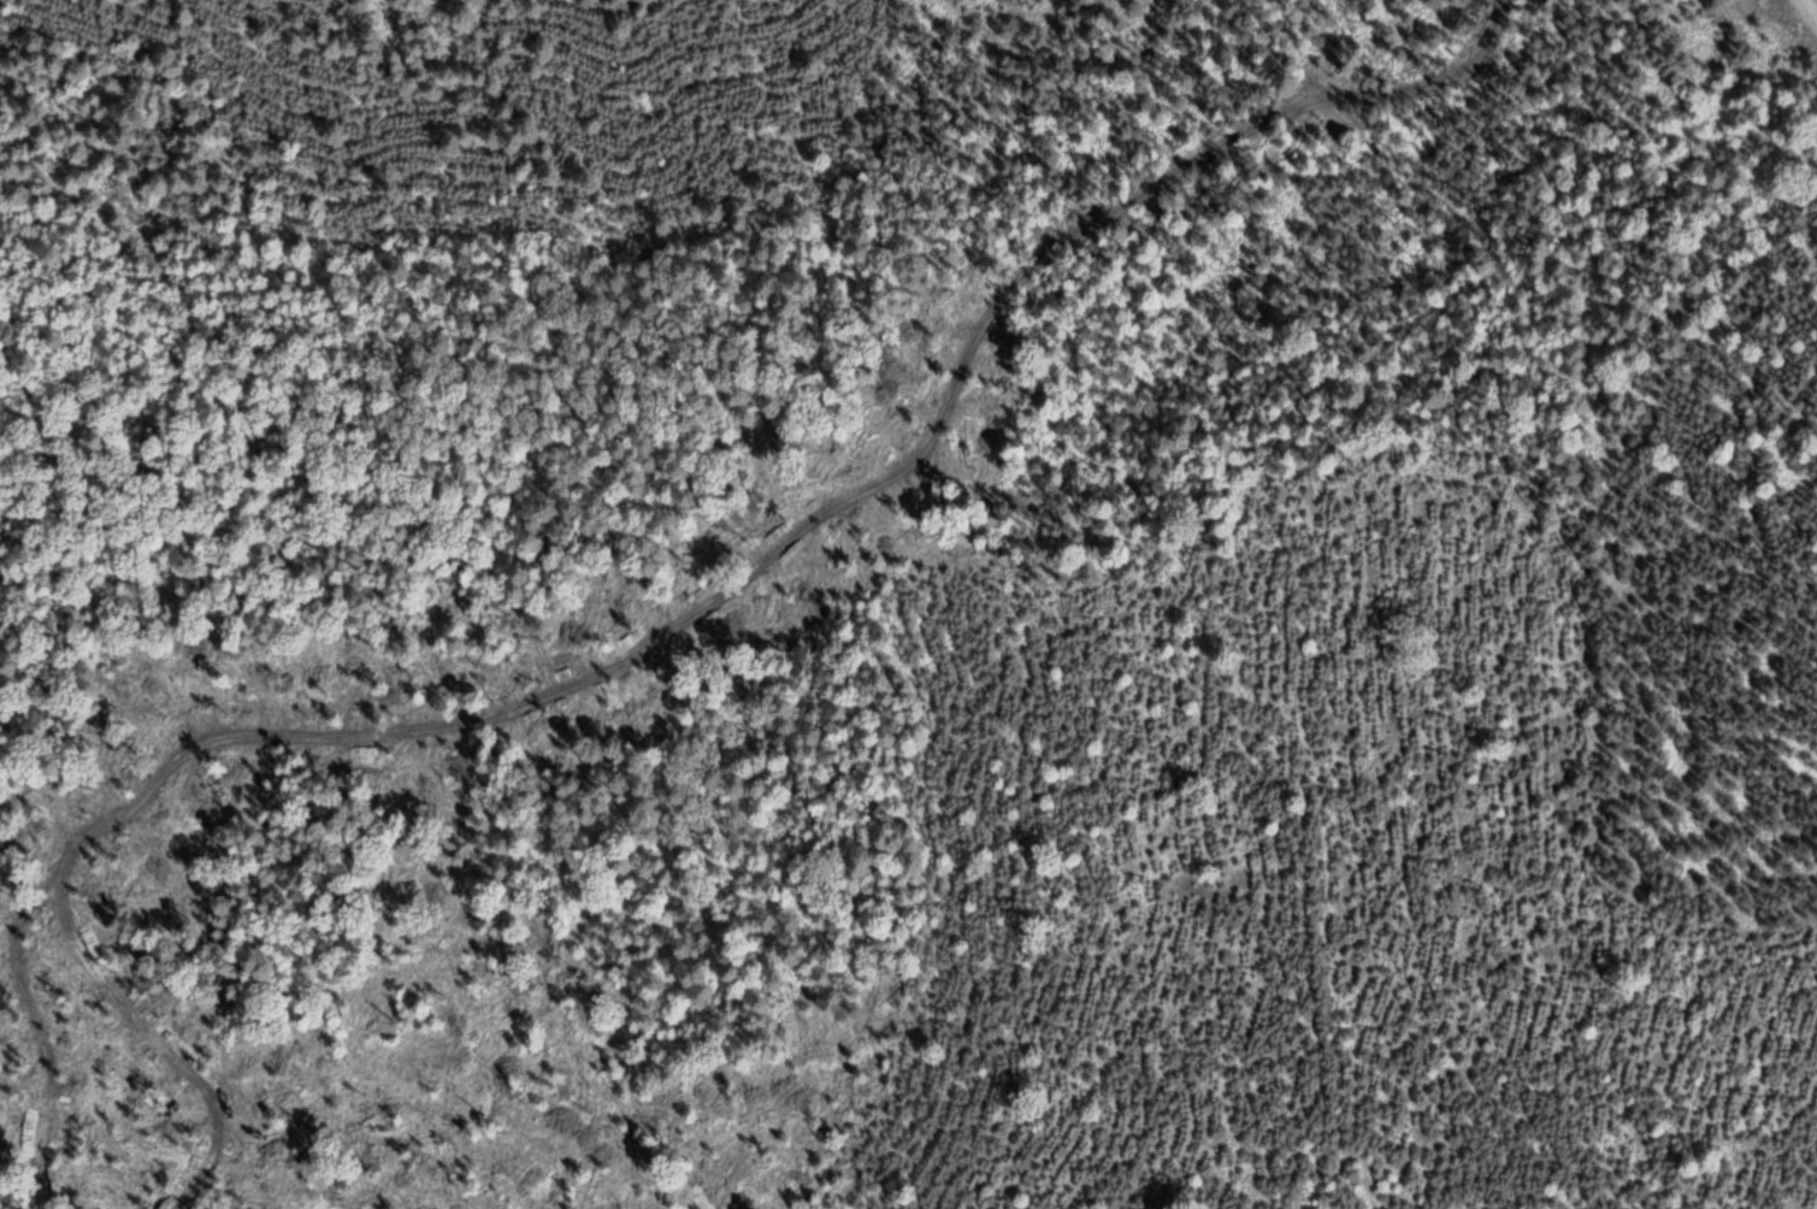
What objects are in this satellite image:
road: (1812, 5)
road: (205, 513)
road: (371, 1116)

